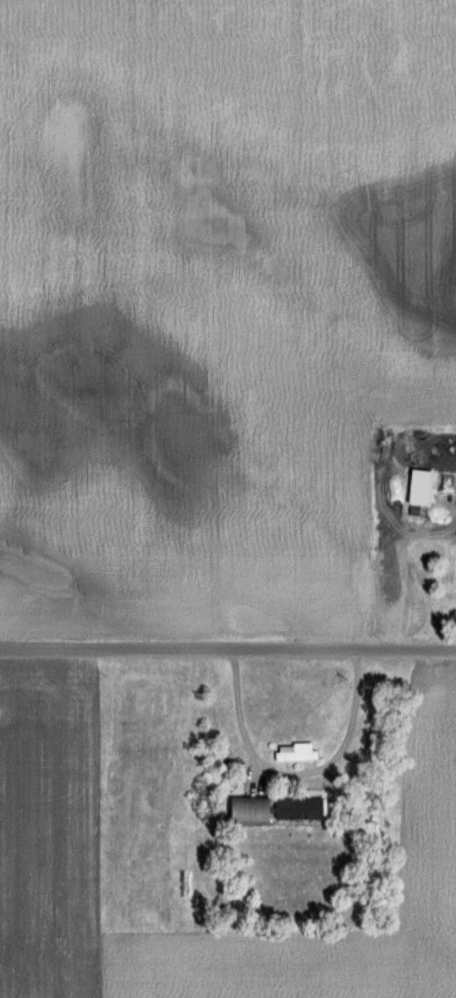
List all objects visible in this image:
road: (227, 648)
building: (295, 751)
road: (293, 773)
building: (296, 807)
building: (248, 810)

